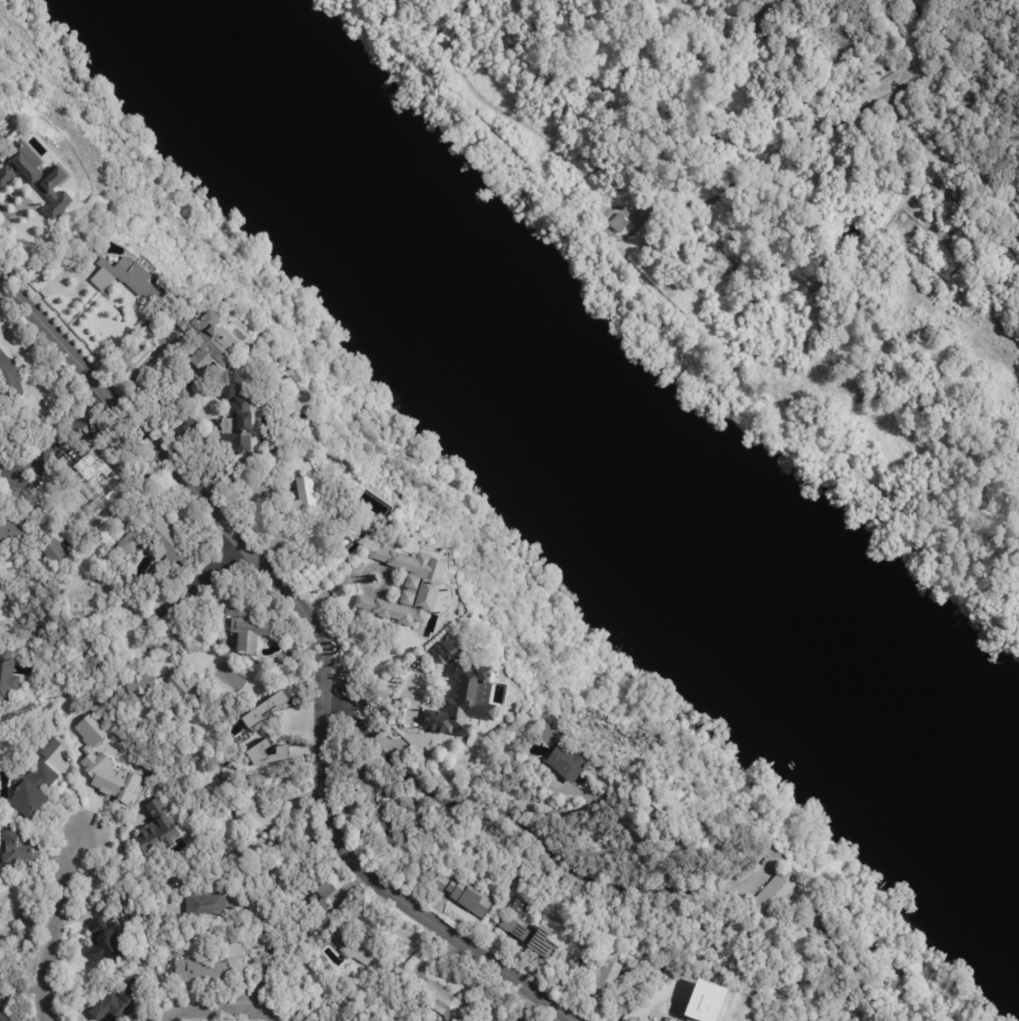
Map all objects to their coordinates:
building: (2, 116)
building: (40, 180)
road: (7, 215)
building: (618, 223)
building: (128, 276)
road: (3, 290)
building: (209, 337)
building: (9, 378)
building: (231, 386)
building: (294, 391)
building: (183, 397)
building: (186, 425)
building: (238, 426)
road: (58, 436)
river: (553, 469)
building: (235, 472)
building: (97, 483)
building: (306, 498)
building: (16, 530)
building: (156, 540)
building: (101, 545)
building: (54, 551)
building: (361, 556)
building: (352, 565)
building: (299, 570)
building: (340, 575)
building: (98, 578)
building: (159, 581)
road: (196, 585)
building: (409, 586)
building: (81, 605)
building: (247, 626)
road: (319, 649)
building: (7, 675)
building: (140, 685)
building: (179, 686)
building: (461, 692)
building: (265, 708)
building: (250, 737)
building: (258, 750)
building: (567, 763)
building: (36, 782)
building: (663, 805)
road: (471, 806)
building: (258, 812)
building: (208, 821)
building: (400, 822)
building: (158, 830)
building: (709, 838)
road: (615, 850)
building: (15, 852)
building: (466, 897)
building: (780, 899)
building: (205, 907)
building: (319, 909)
road: (52, 922)
building: (527, 936)
building: (819, 941)
building: (105, 943)
building: (363, 948)
building: (232, 951)
building: (883, 956)
building: (199, 971)
building: (602, 977)
building: (440, 1002)
building: (120, 1003)
road: (230, 1008)
road: (172, 1016)
building: (3, 1017)
building: (107, 1017)

